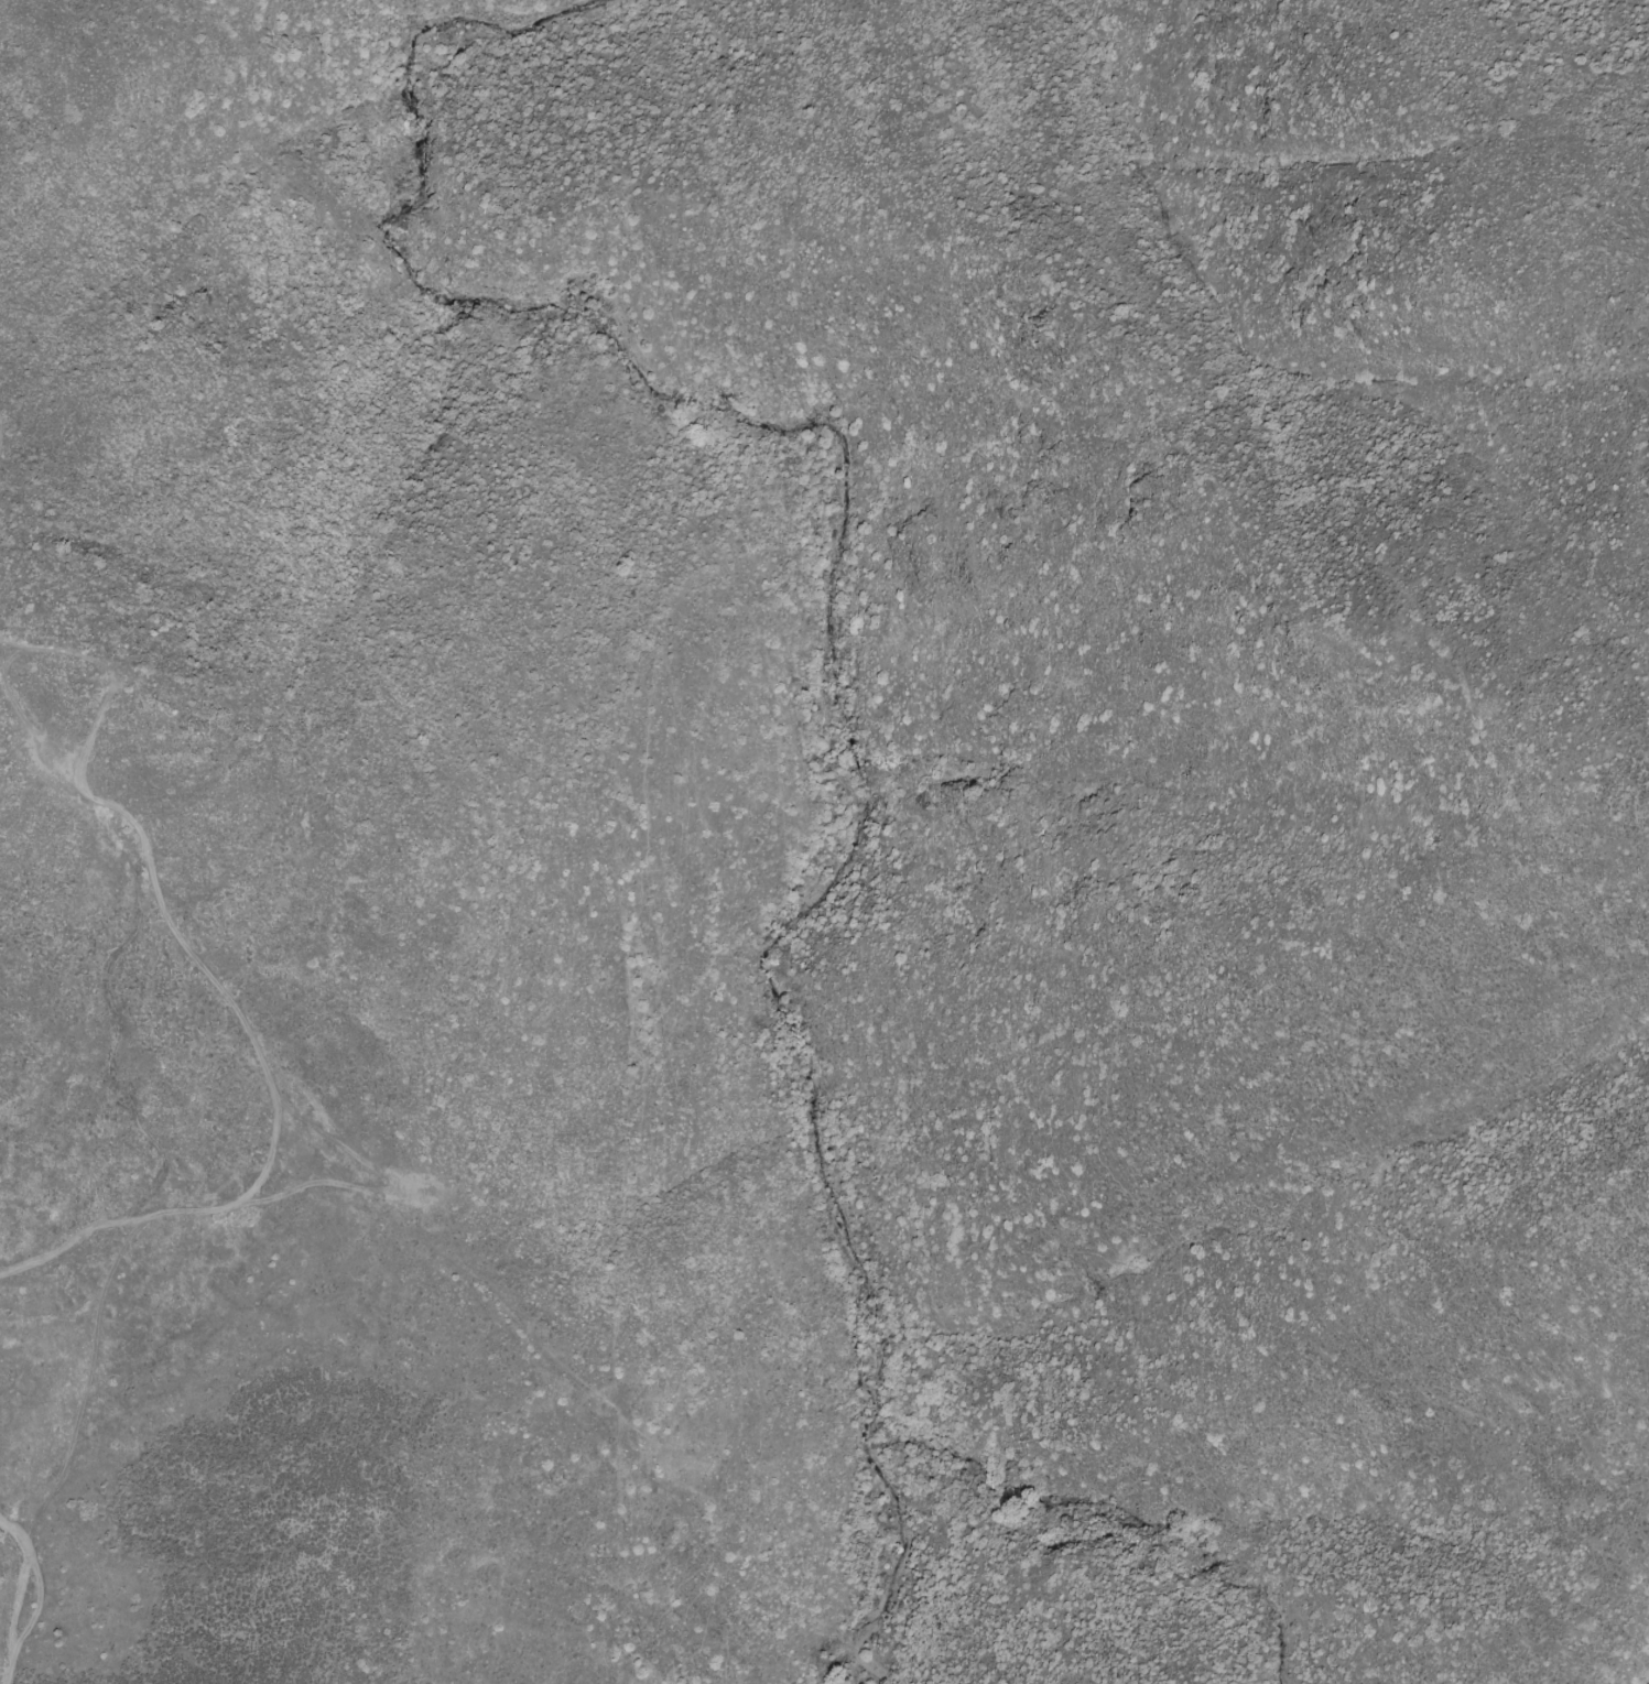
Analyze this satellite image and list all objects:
road: (241, 1033)
road: (32, 1601)

